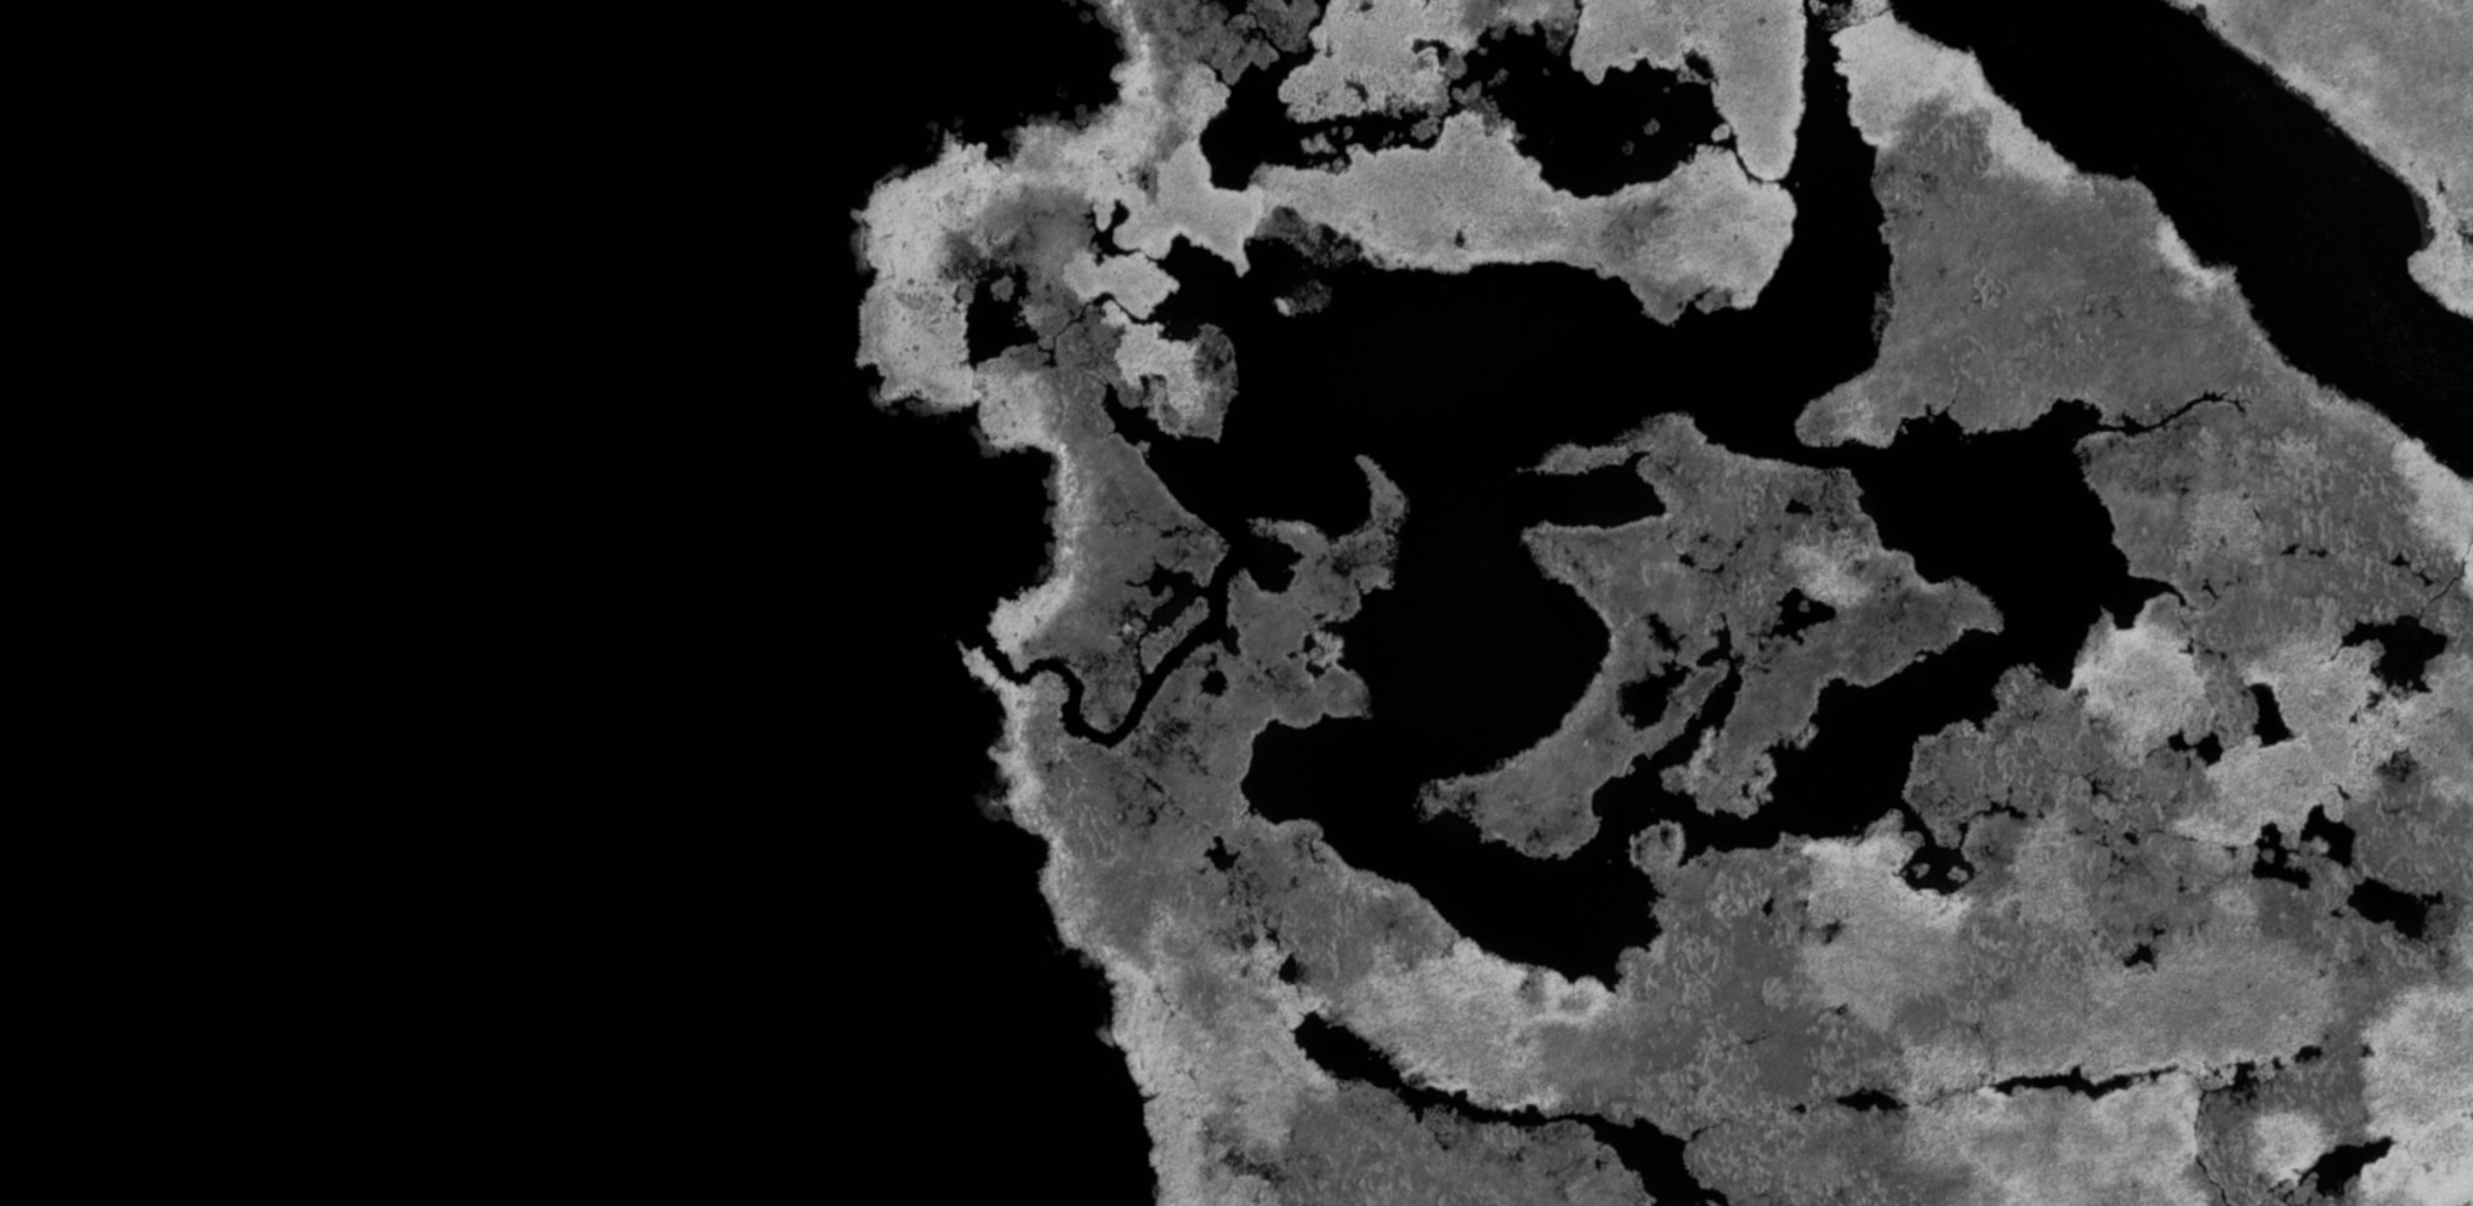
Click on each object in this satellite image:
river: (67, 1047)

